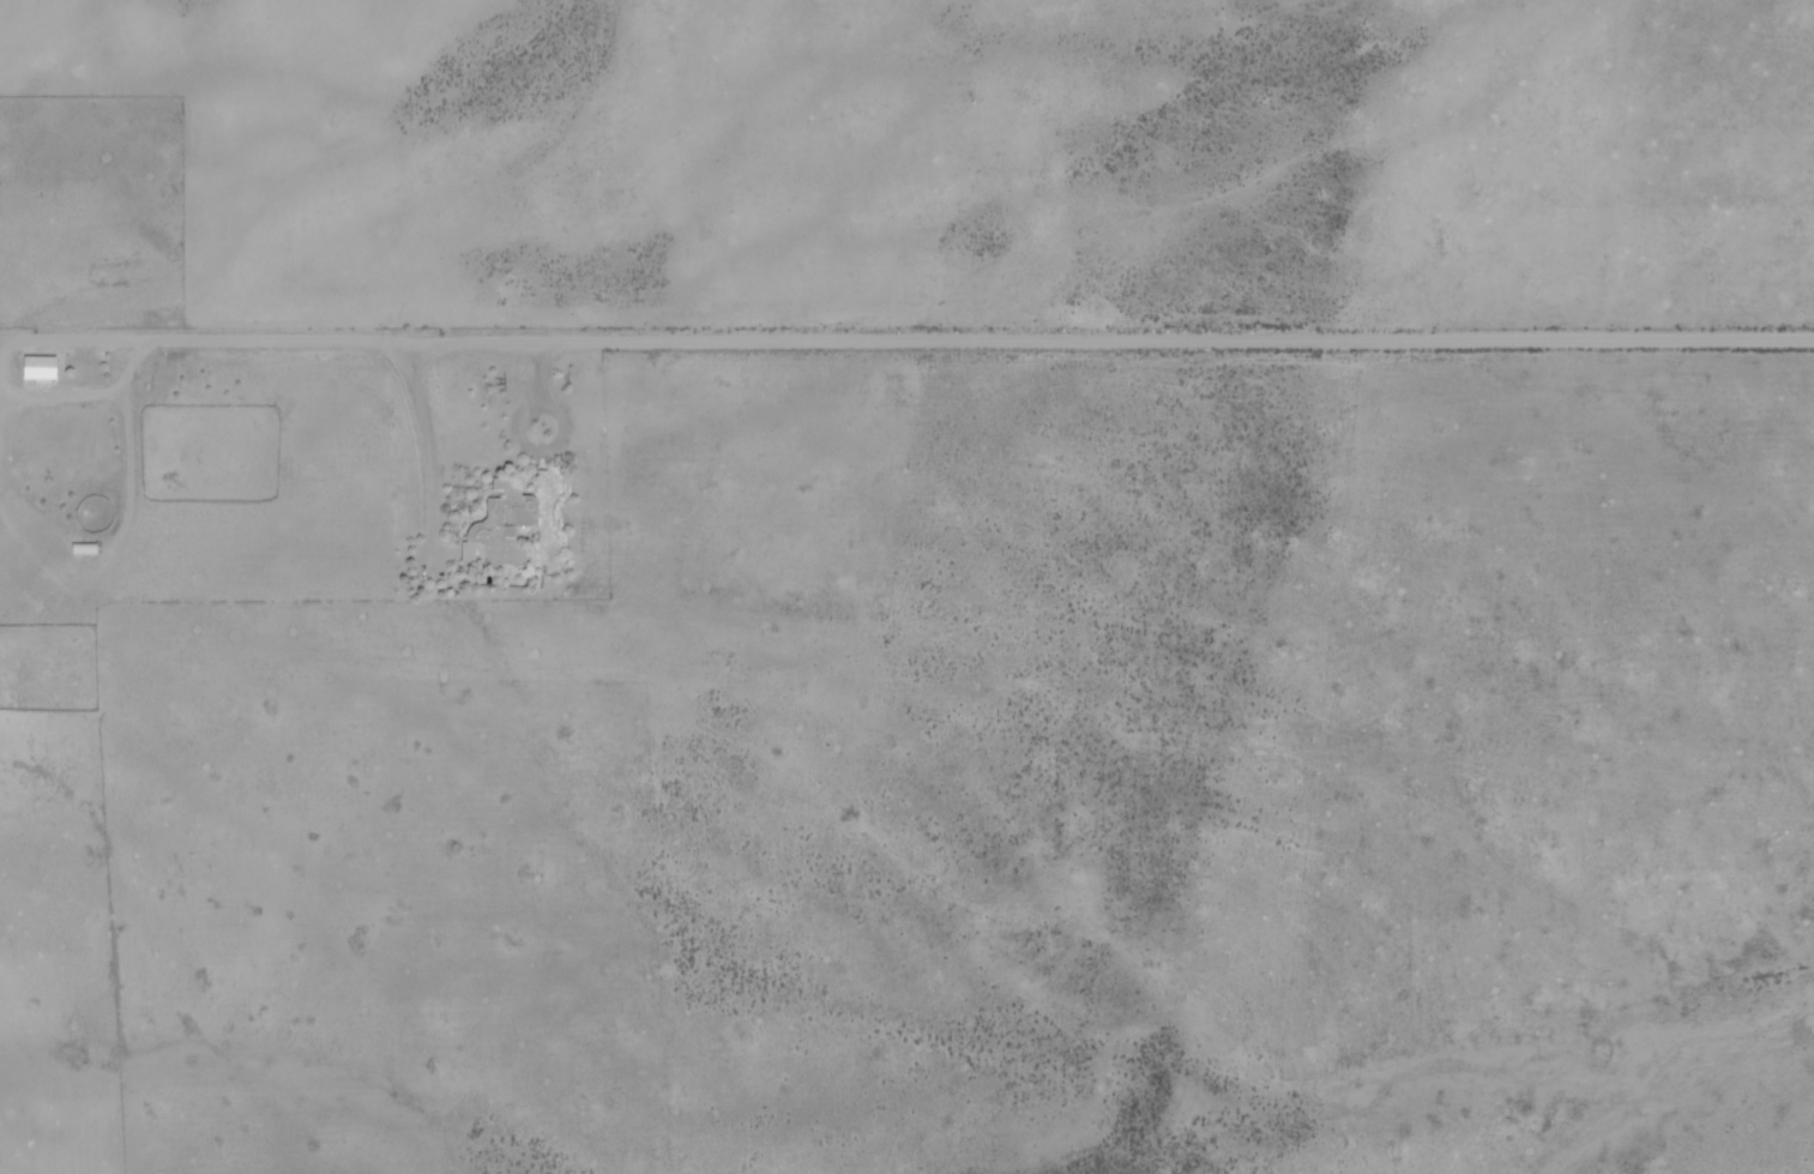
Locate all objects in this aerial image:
building: (40, 367)

